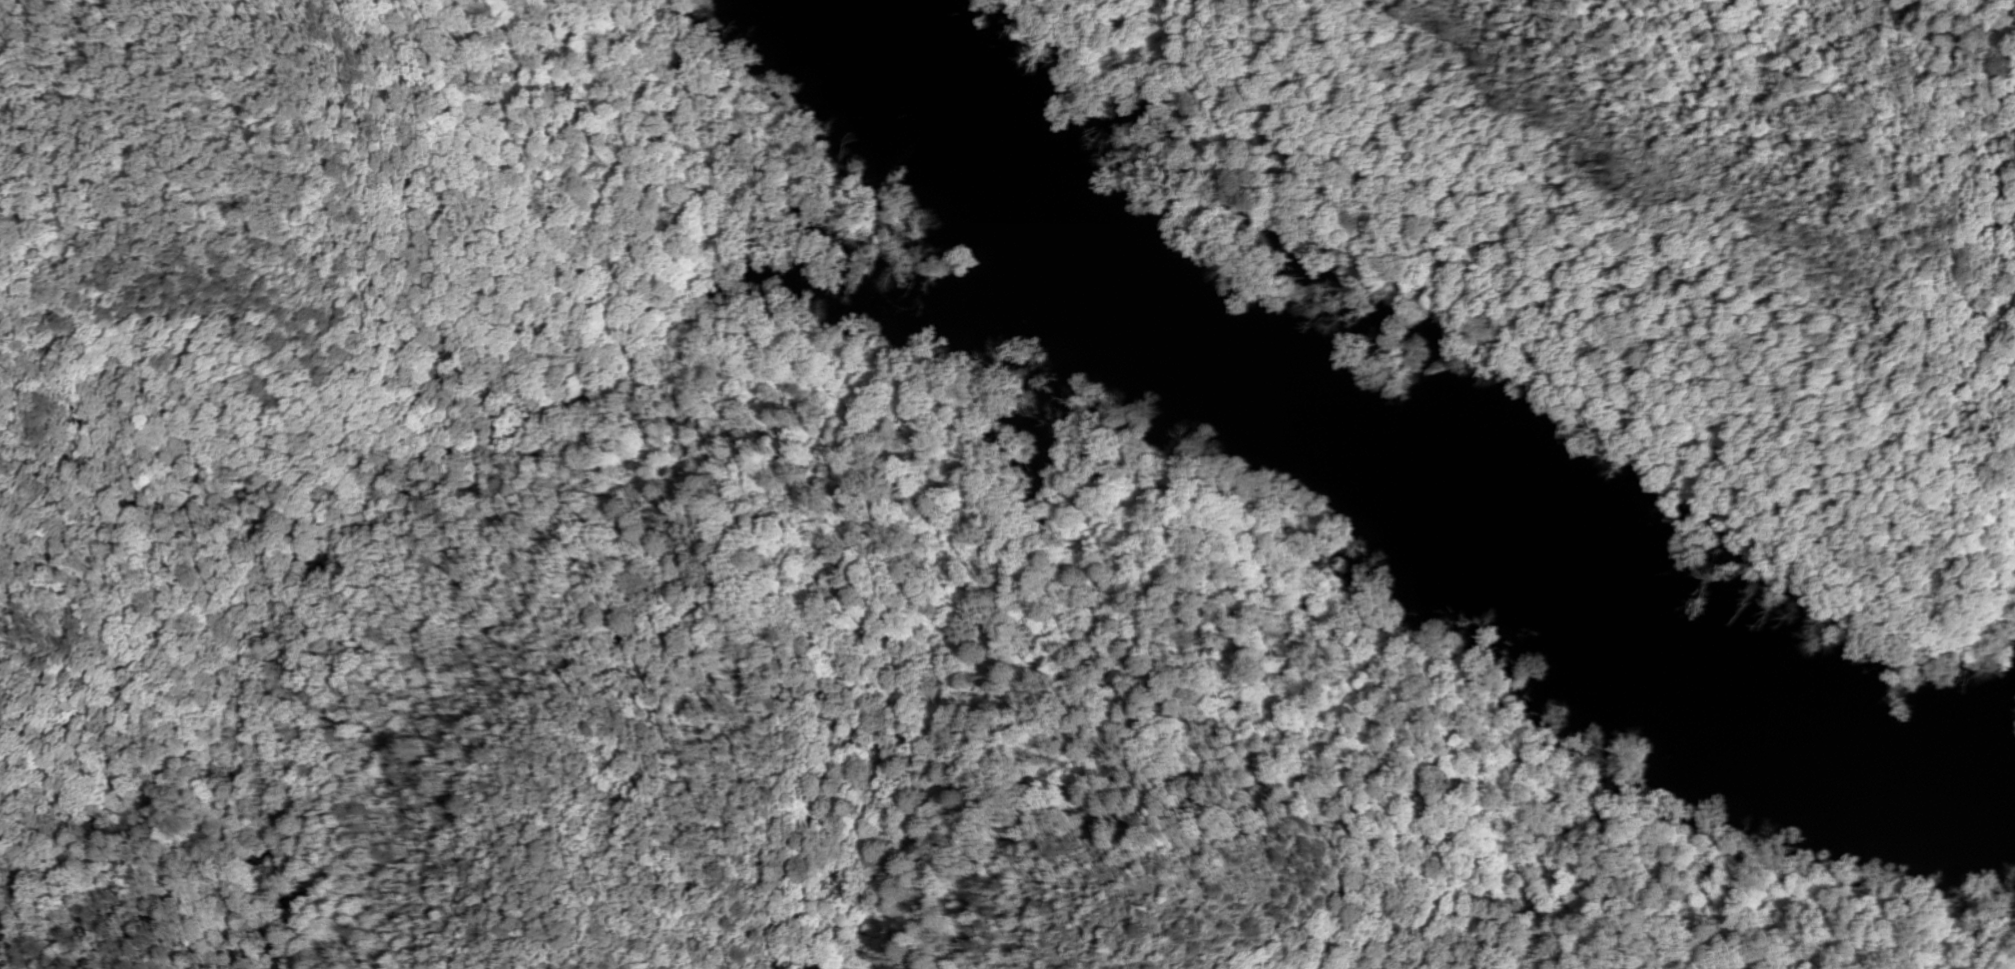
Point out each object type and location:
river: (1396, 473)

